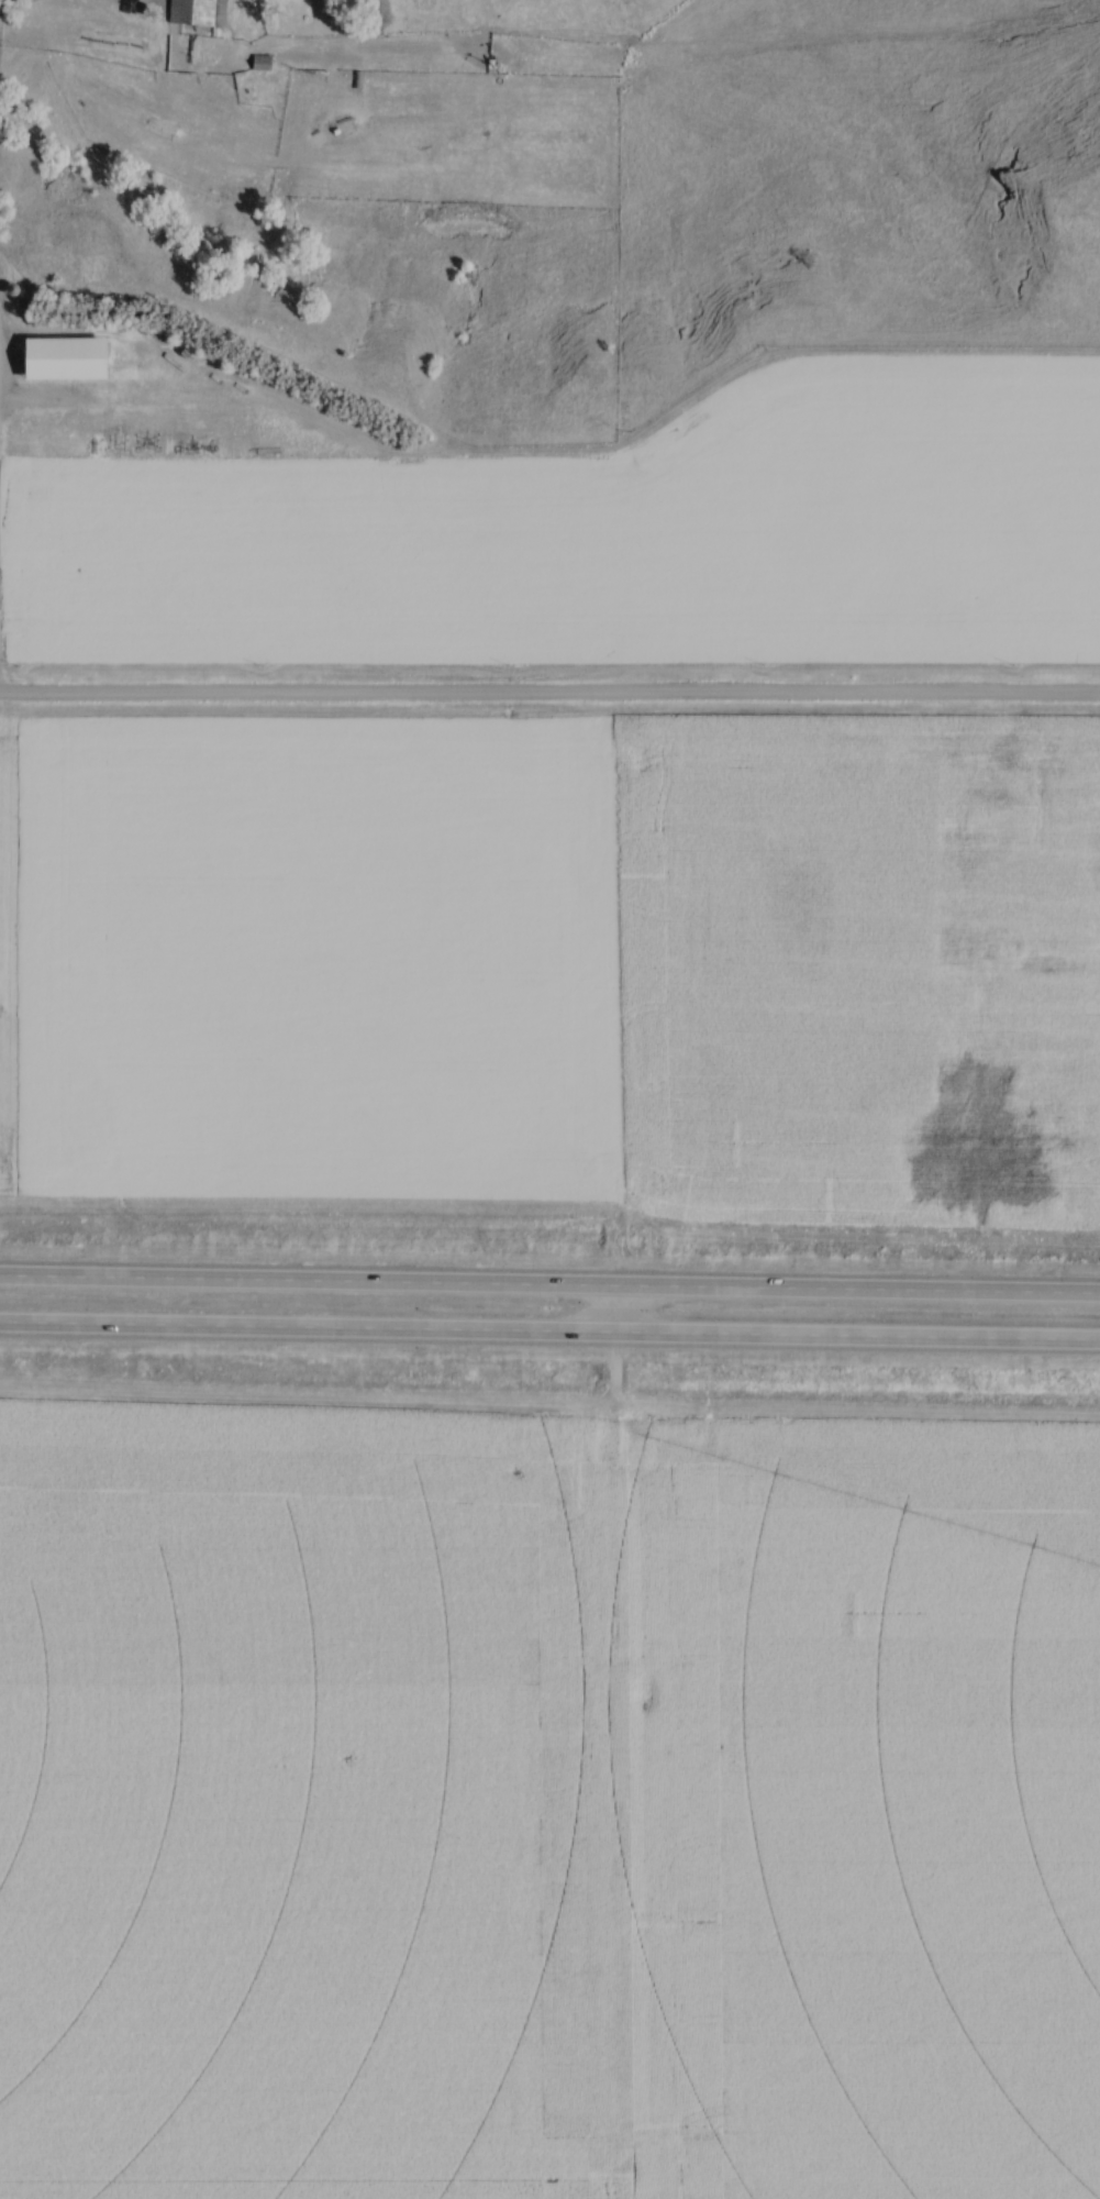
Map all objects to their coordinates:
building: (130, 8)
building: (196, 12)
building: (265, 64)
building: (74, 360)
road: (549, 698)
road: (549, 1284)
road: (611, 1323)
road: (549, 1329)

